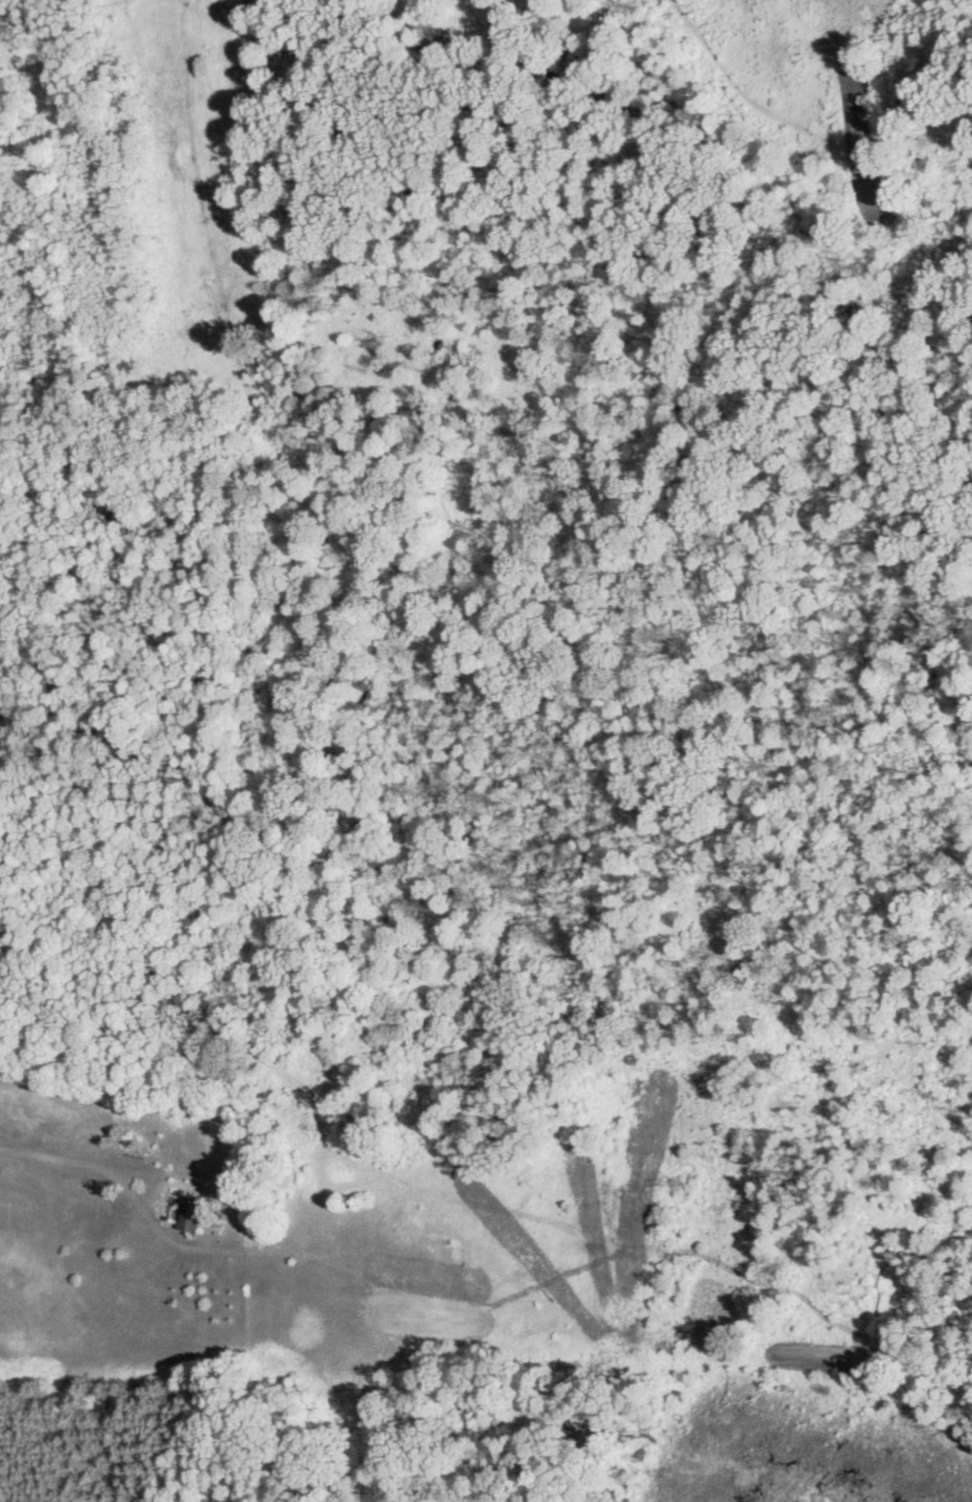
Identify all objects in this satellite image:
building: (194, 1219)

